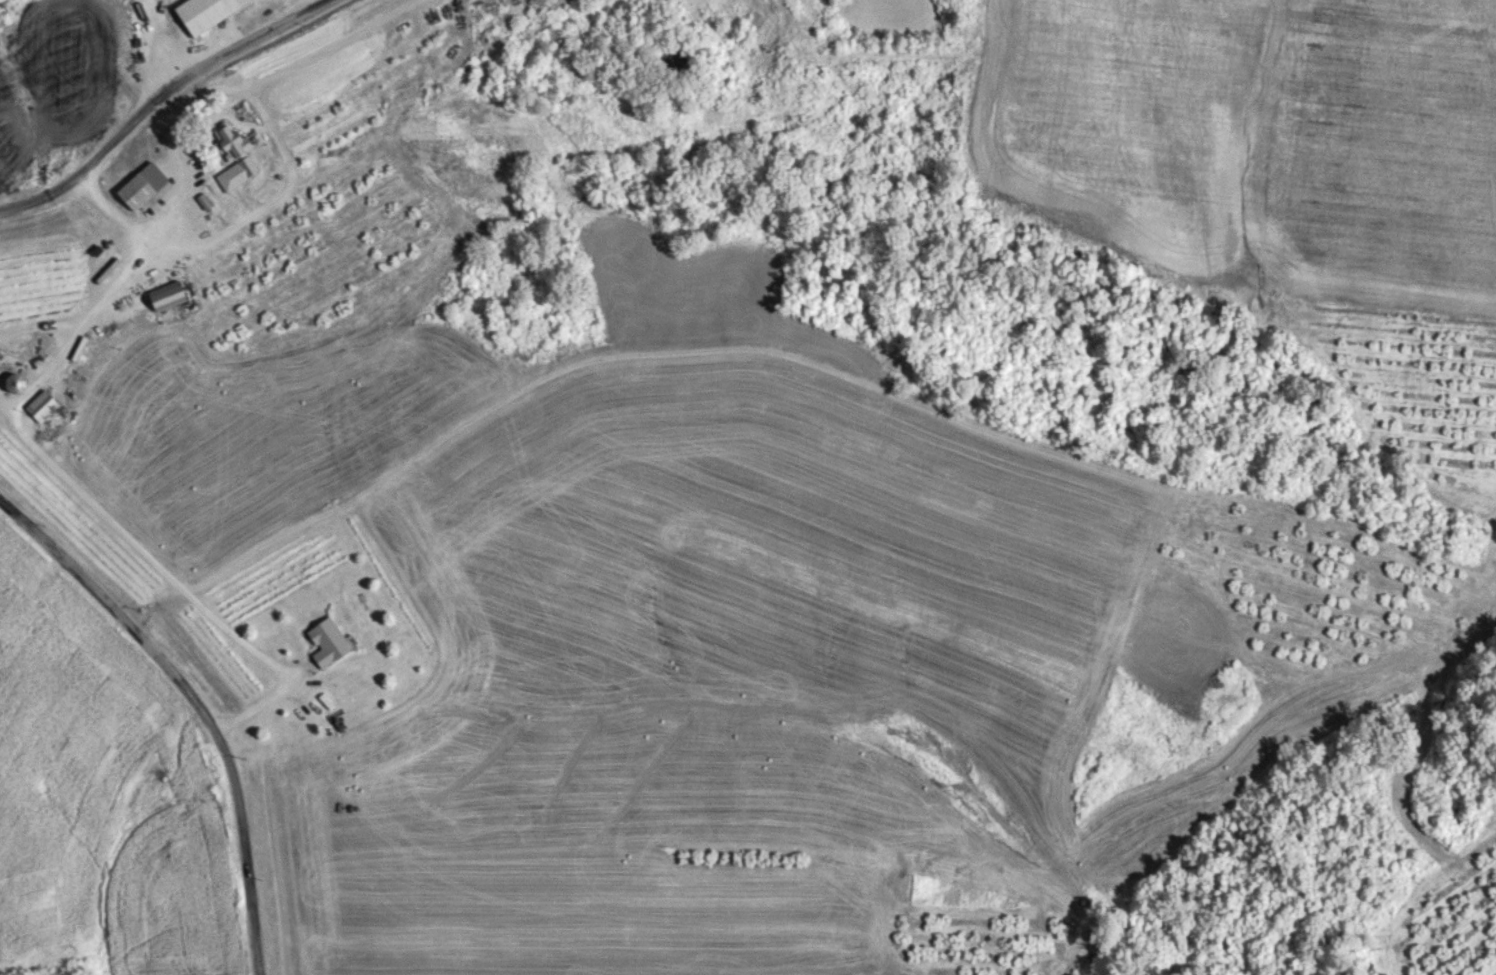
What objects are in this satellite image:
building: (207, 12)
road: (323, 46)
road: (156, 96)
road: (268, 123)
building: (234, 155)
building: (137, 190)
building: (170, 294)
building: (16, 382)
crop: (1414, 385)
building: (43, 405)
road: (65, 475)
building: (329, 641)
road: (198, 699)
crop: (103, 804)

